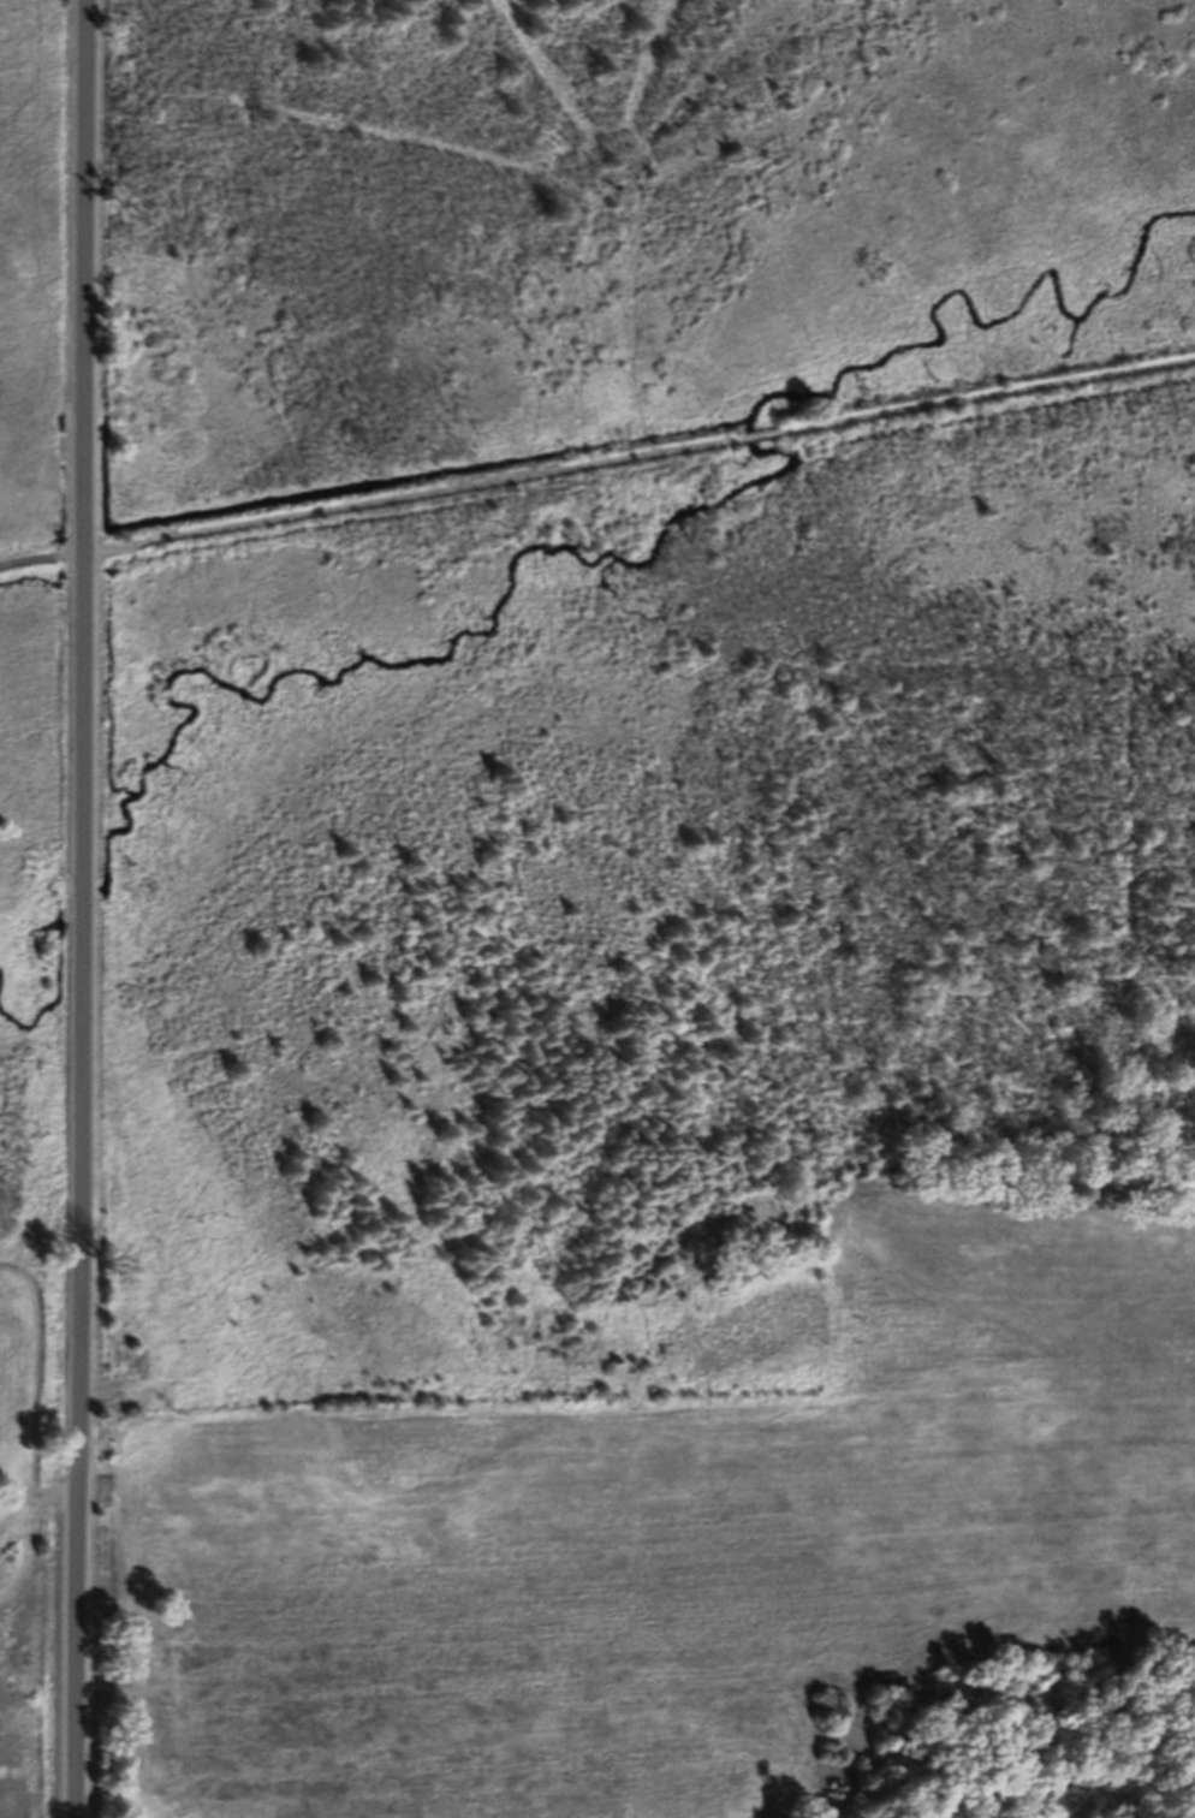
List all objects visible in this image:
road: (84, 909)

